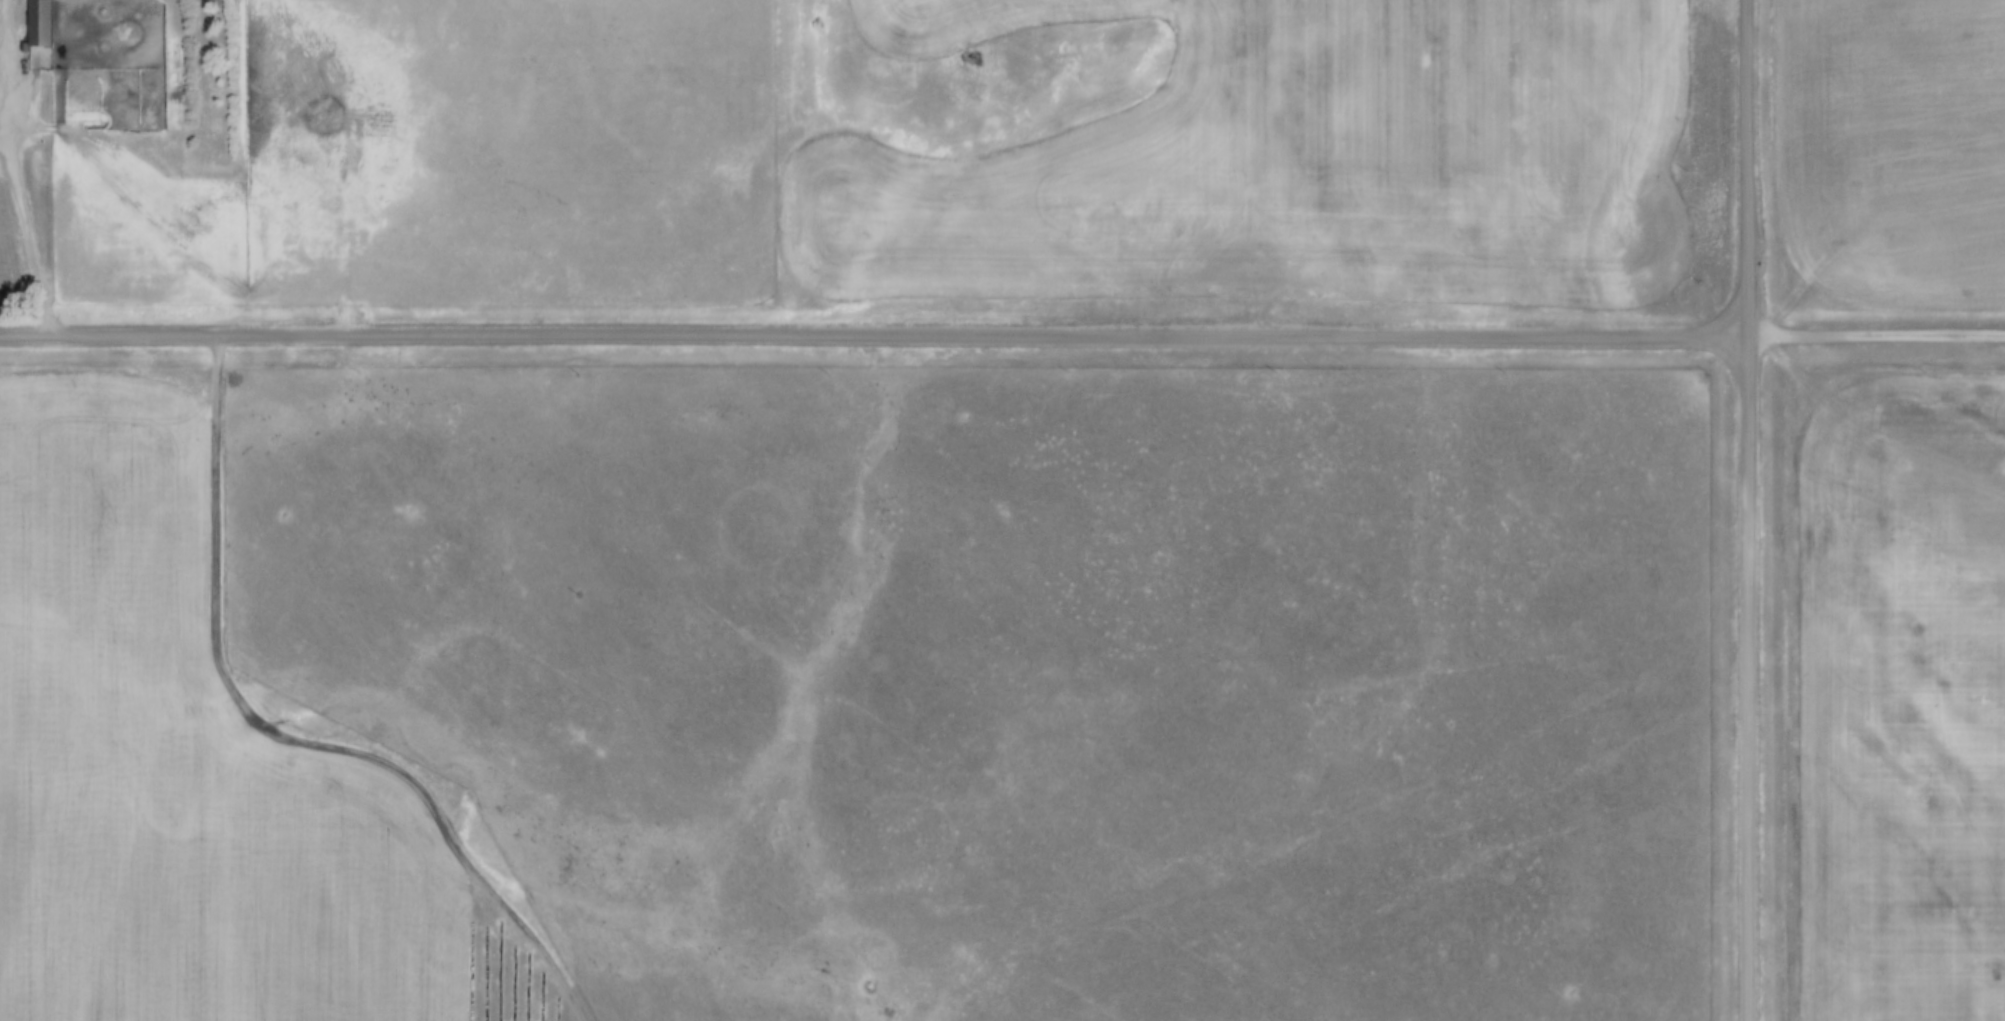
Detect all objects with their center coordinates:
building: (41, 23)
road: (19, 191)
road: (1877, 335)
road: (874, 336)
road: (1748, 510)
road: (297, 740)

